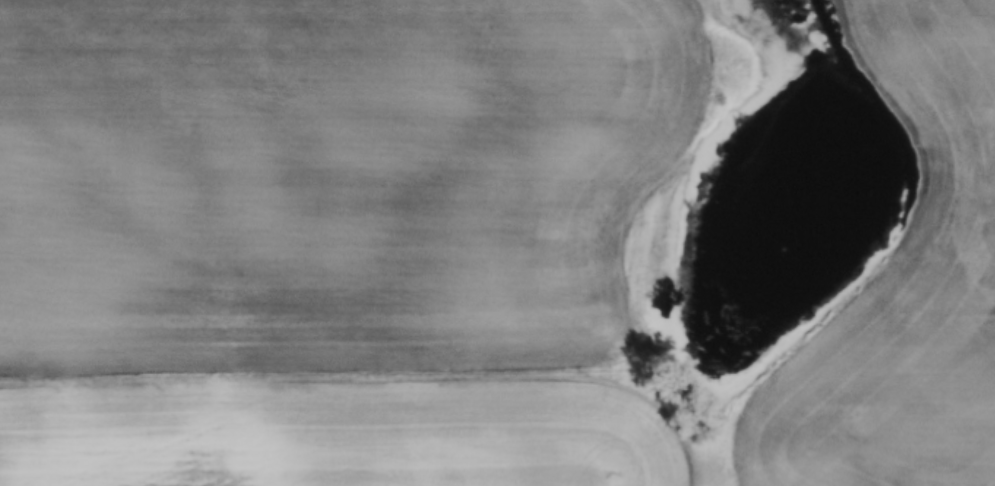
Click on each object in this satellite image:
road: (802, 309)

